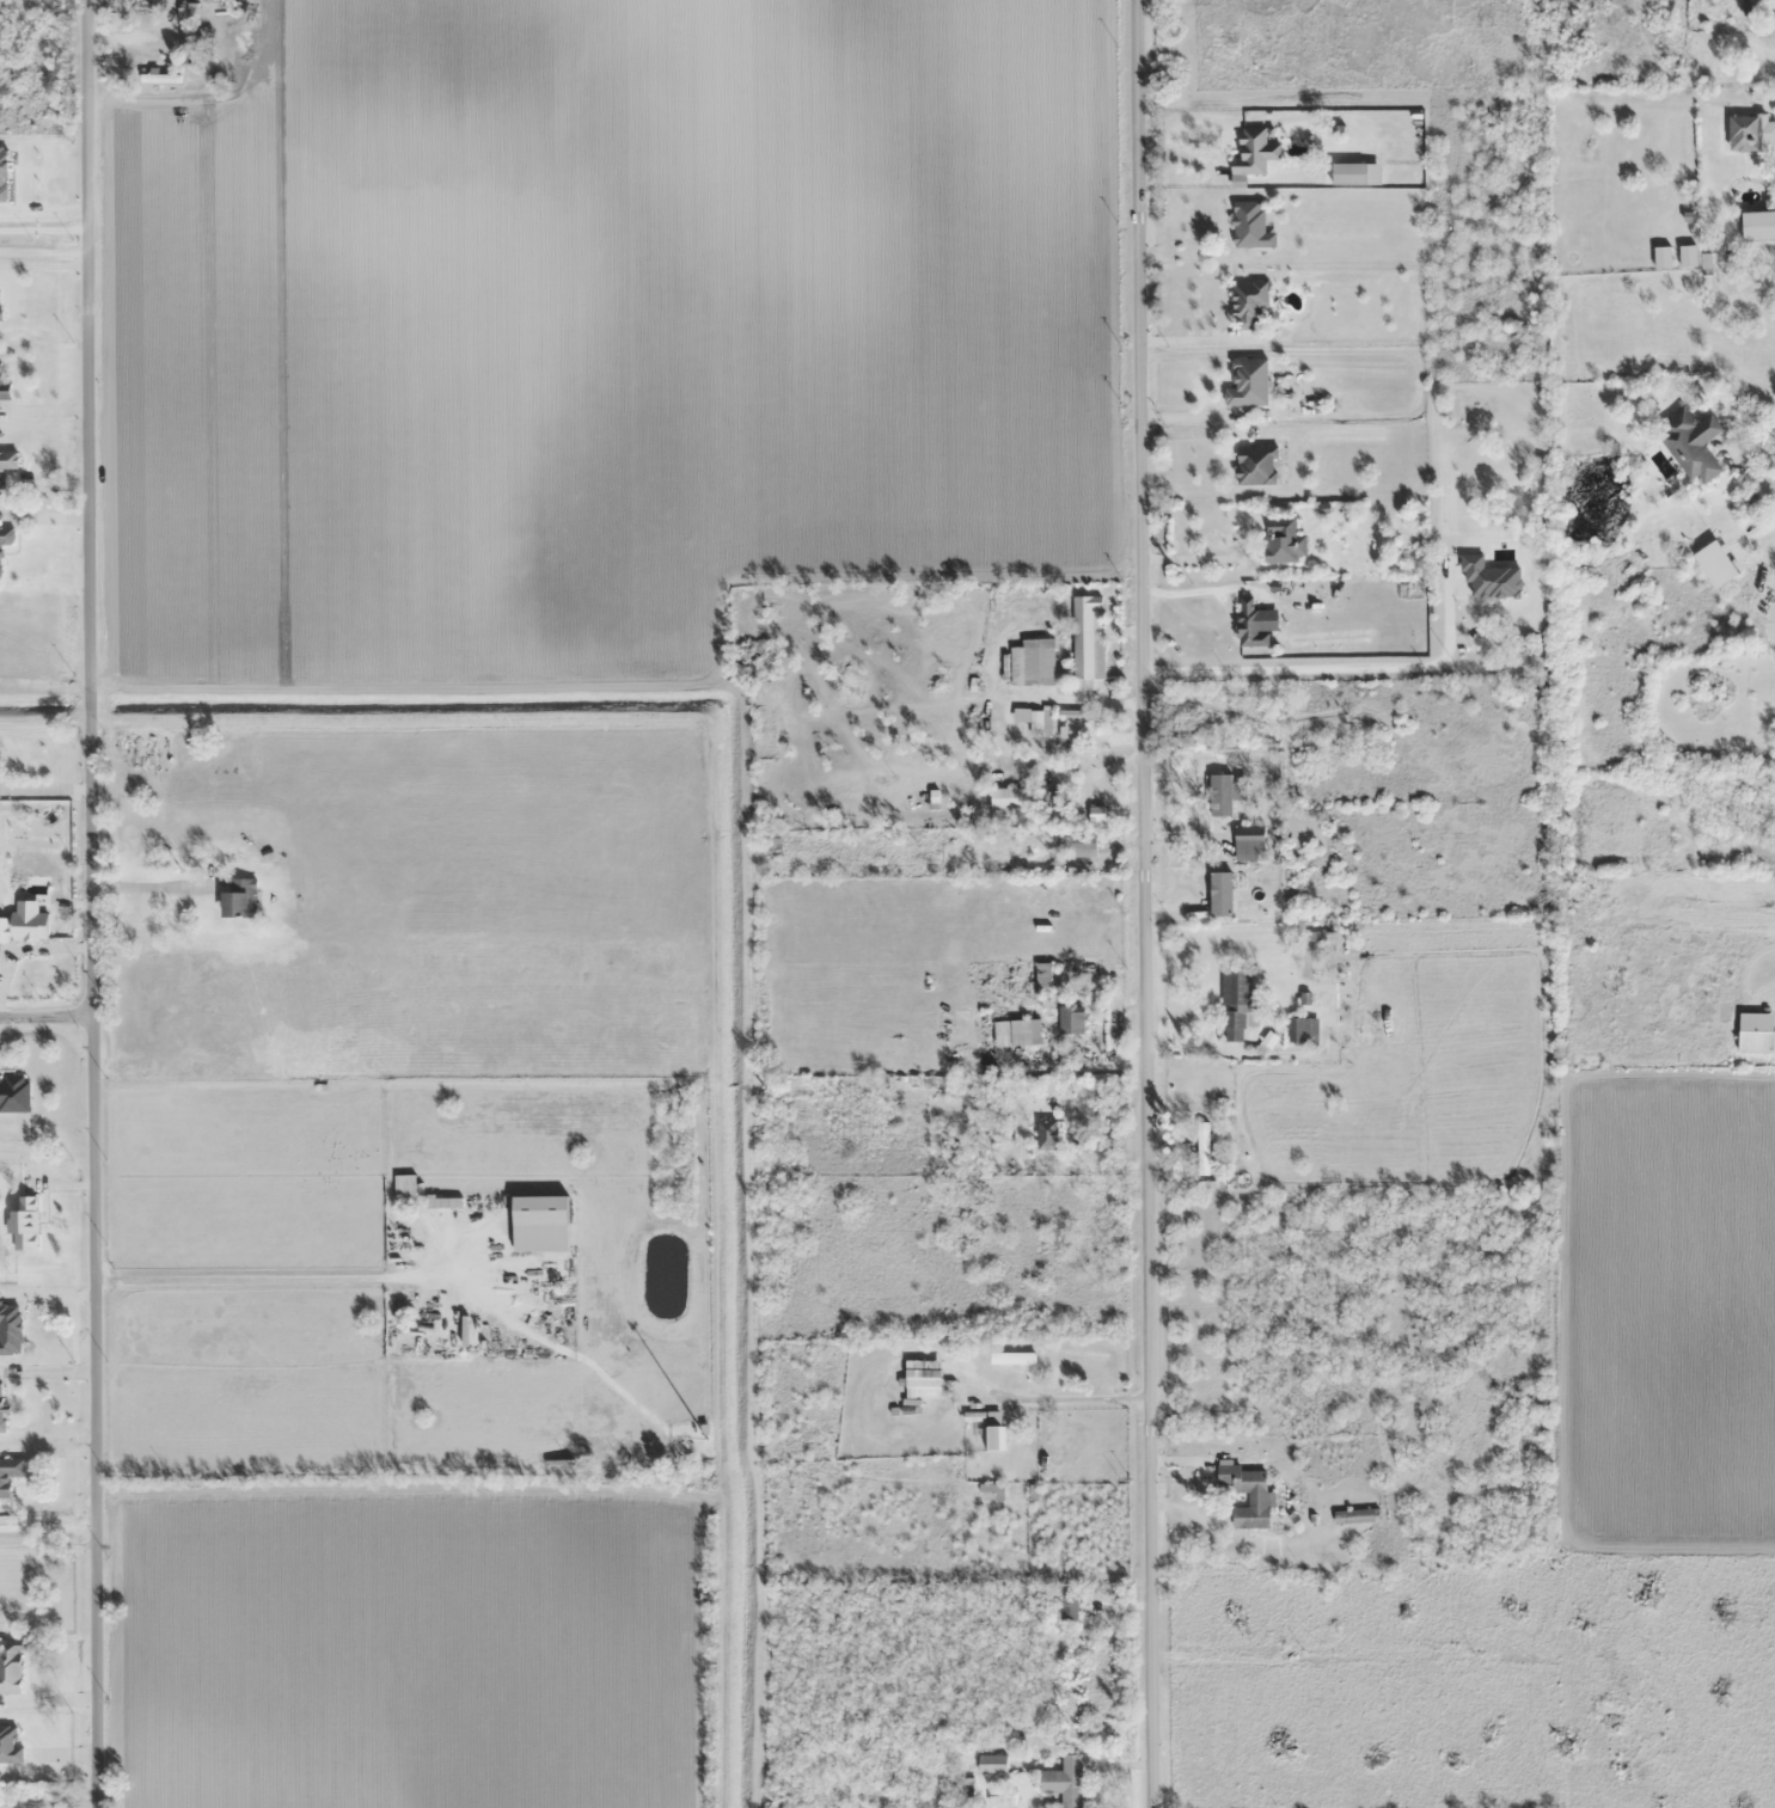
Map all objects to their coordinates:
building: (1764, 131)
building: (1254, 152)
building: (1250, 226)
road: (45, 232)
road: (45, 253)
building: (1248, 302)
building: (1249, 382)
building: (5, 392)
building: (1691, 442)
building: (1256, 465)
building: (5, 539)
building: (1283, 540)
building: (1249, 624)
building: (1085, 633)
building: (1032, 663)
building: (1072, 716)
building: (1034, 721)
building: (139, 741)
building: (839, 795)
building: (1230, 796)
building: (925, 797)
building: (1004, 797)
building: (1052, 797)
building: (1006, 839)
building: (1249, 841)
building: (770, 846)
building: (238, 899)
road: (96, 903)
road: (1141, 903)
building: (1053, 970)
building: (1234, 1006)
road: (48, 1017)
building: (1071, 1019)
building: (1303, 1030)
building: (1016, 1032)
building: (1755, 1041)
building: (14, 1093)
building: (1047, 1134)
building: (1202, 1148)
building: (540, 1211)
building: (24, 1225)
crop: (1675, 1308)
building: (11, 1328)
building: (1012, 1361)
building: (923, 1378)
building: (1, 1408)
building: (993, 1433)
building: (10, 1473)
building: (1247, 1495)
road: (49, 1519)
road: (49, 1543)
building: (1069, 1608)
crop: (402, 1651)
building: (11, 1666)
building: (1630, 1671)
building: (8, 1746)
building: (991, 1764)
building: (1065, 1781)
building: (963, 1788)
building: (1000, 1802)

